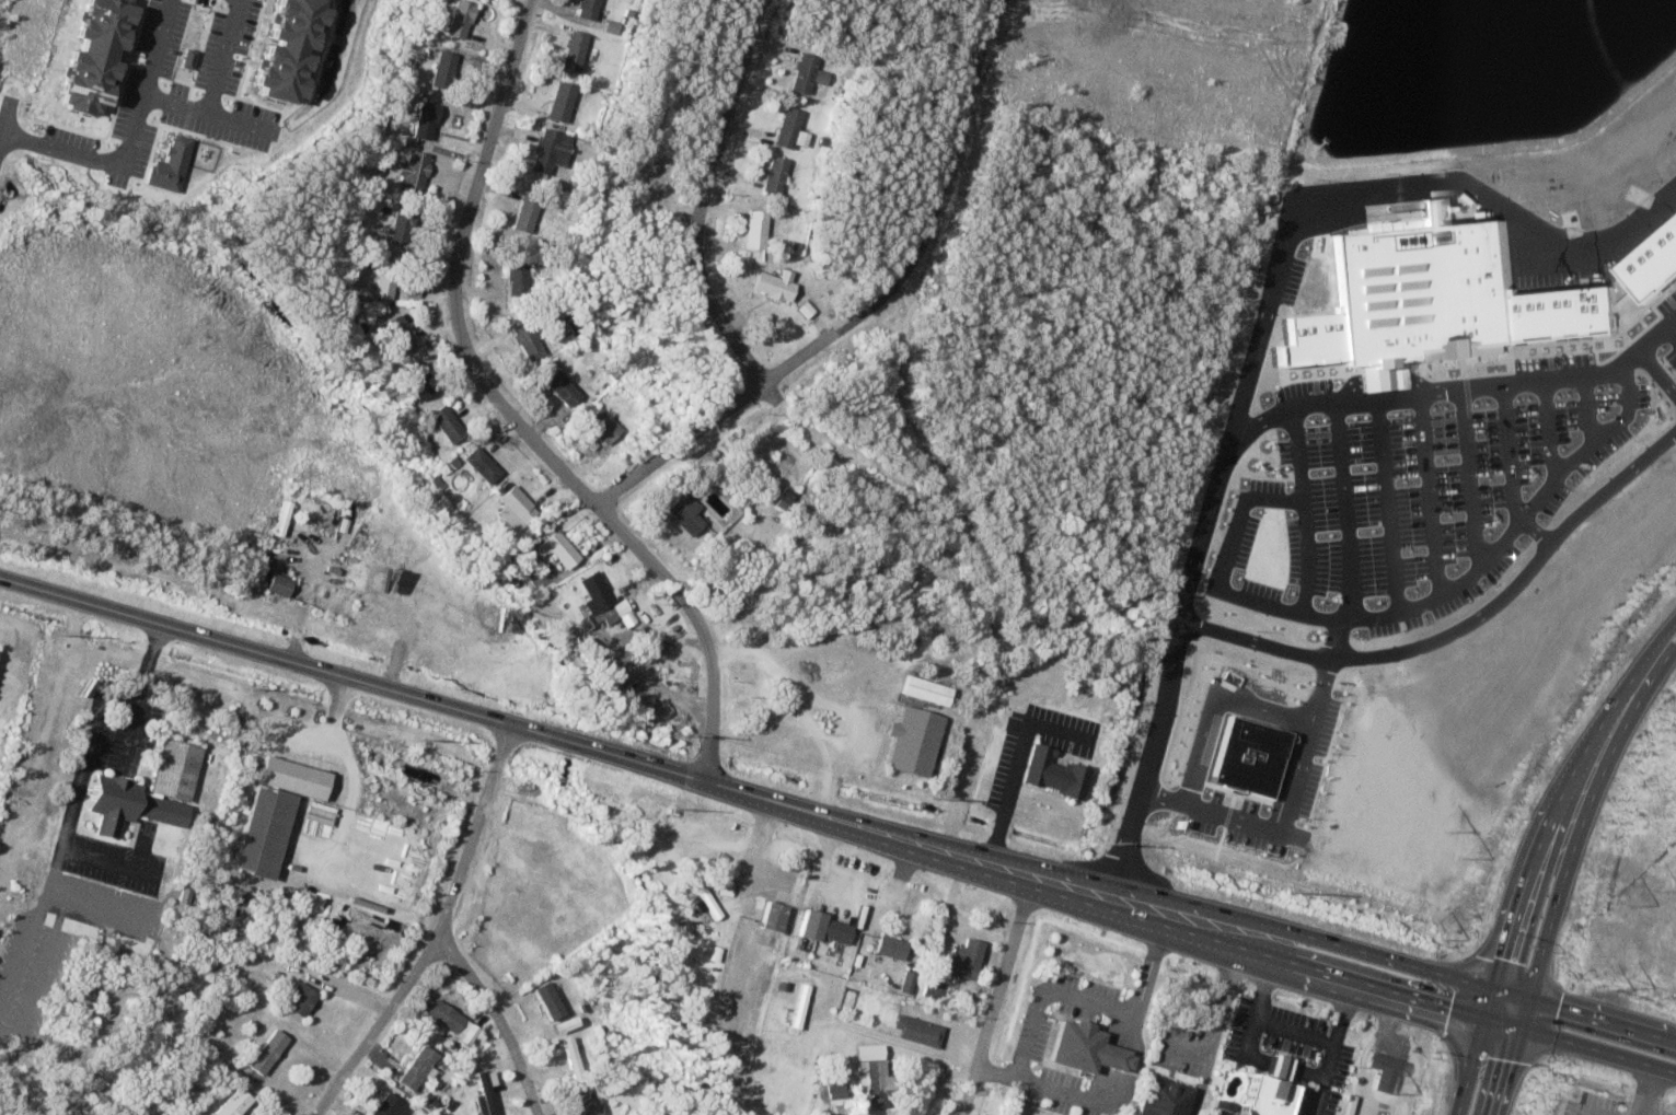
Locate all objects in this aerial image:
building: (586, 9)
building: (458, 21)
road: (159, 47)
building: (573, 53)
building: (441, 70)
building: (807, 72)
road: (217, 88)
building: (559, 103)
building: (424, 123)
building: (786, 128)
building: (550, 150)
road: (92, 156)
building: (411, 172)
building: (772, 176)
road: (705, 196)
building: (524, 213)
building: (754, 229)
building: (1651, 260)
building: (383, 281)
building: (513, 284)
building: (773, 286)
building: (1433, 297)
building: (397, 337)
building: (524, 341)
building: (417, 381)
building: (560, 388)
road: (750, 390)
road: (509, 417)
building: (446, 426)
building: (602, 427)
road: (911, 428)
building: (481, 466)
building: (517, 507)
building: (682, 513)
building: (285, 515)
building: (346, 523)
building: (560, 549)
building: (281, 584)
building: (594, 593)
road: (305, 606)
road: (759, 655)
road: (1330, 658)
building: (604, 670)
building: (923, 688)
road: (845, 709)
road: (472, 716)
road: (35, 732)
road: (130, 739)
building: (912, 740)
road: (346, 748)
building: (1245, 756)
road: (1018, 757)
road: (85, 762)
building: (178, 767)
building: (1053, 771)
building: (297, 776)
road: (1562, 793)
building: (132, 804)
road: (1584, 813)
road: (1288, 816)
building: (267, 829)
road: (827, 858)
road: (57, 866)
road: (752, 874)
road: (904, 874)
building: (724, 887)
building: (704, 897)
road: (952, 898)
road: (111, 904)
road: (1221, 911)
building: (771, 915)
building: (820, 927)
road: (982, 928)
road: (439, 932)
road: (22, 945)
building: (888, 945)
building: (961, 959)
road: (1308, 965)
road: (44, 966)
building: (905, 980)
building: (931, 987)
traffic signals: (1493, 988)
road: (1511, 992)
traffic signals: (1529, 998)
road: (998, 999)
road: (1089, 1000)
building: (299, 1001)
building: (748, 1001)
building: (545, 1002)
building: (798, 1004)
traffic signals: (1484, 1017)
road: (1603, 1019)
road: (501, 1021)
building: (448, 1023)
traffic signals: (1521, 1027)
road: (1296, 1029)
building: (915, 1030)
road: (1213, 1030)
road: (911, 1043)
building: (1083, 1047)
road: (1473, 1050)
building: (867, 1052)
building: (265, 1053)
road: (1512, 1056)
building: (569, 1061)
building: (415, 1070)
road: (952, 1072)
building: (1385, 1073)
road: (1040, 1082)
building: (872, 1084)
road: (1649, 1090)
building: (484, 1093)
building: (1256, 1094)
building: (1160, 1097)
building: (578, 1104)
building: (388, 1106)
road: (1592, 1111)
building: (1457, 1113)

